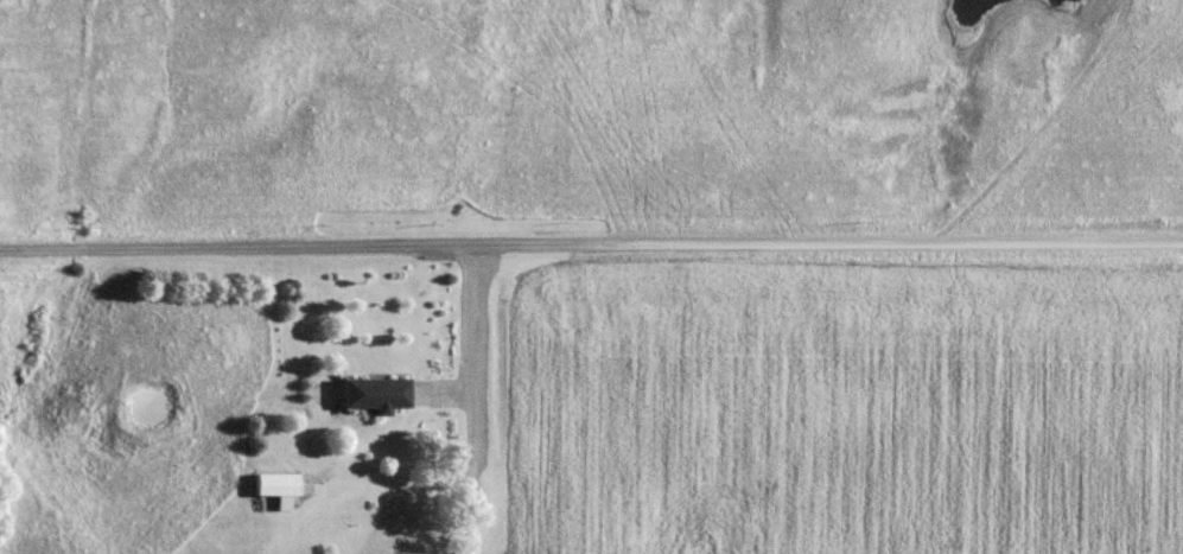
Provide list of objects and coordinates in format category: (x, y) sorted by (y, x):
road: (591, 240)
road: (475, 337)
building: (379, 394)

